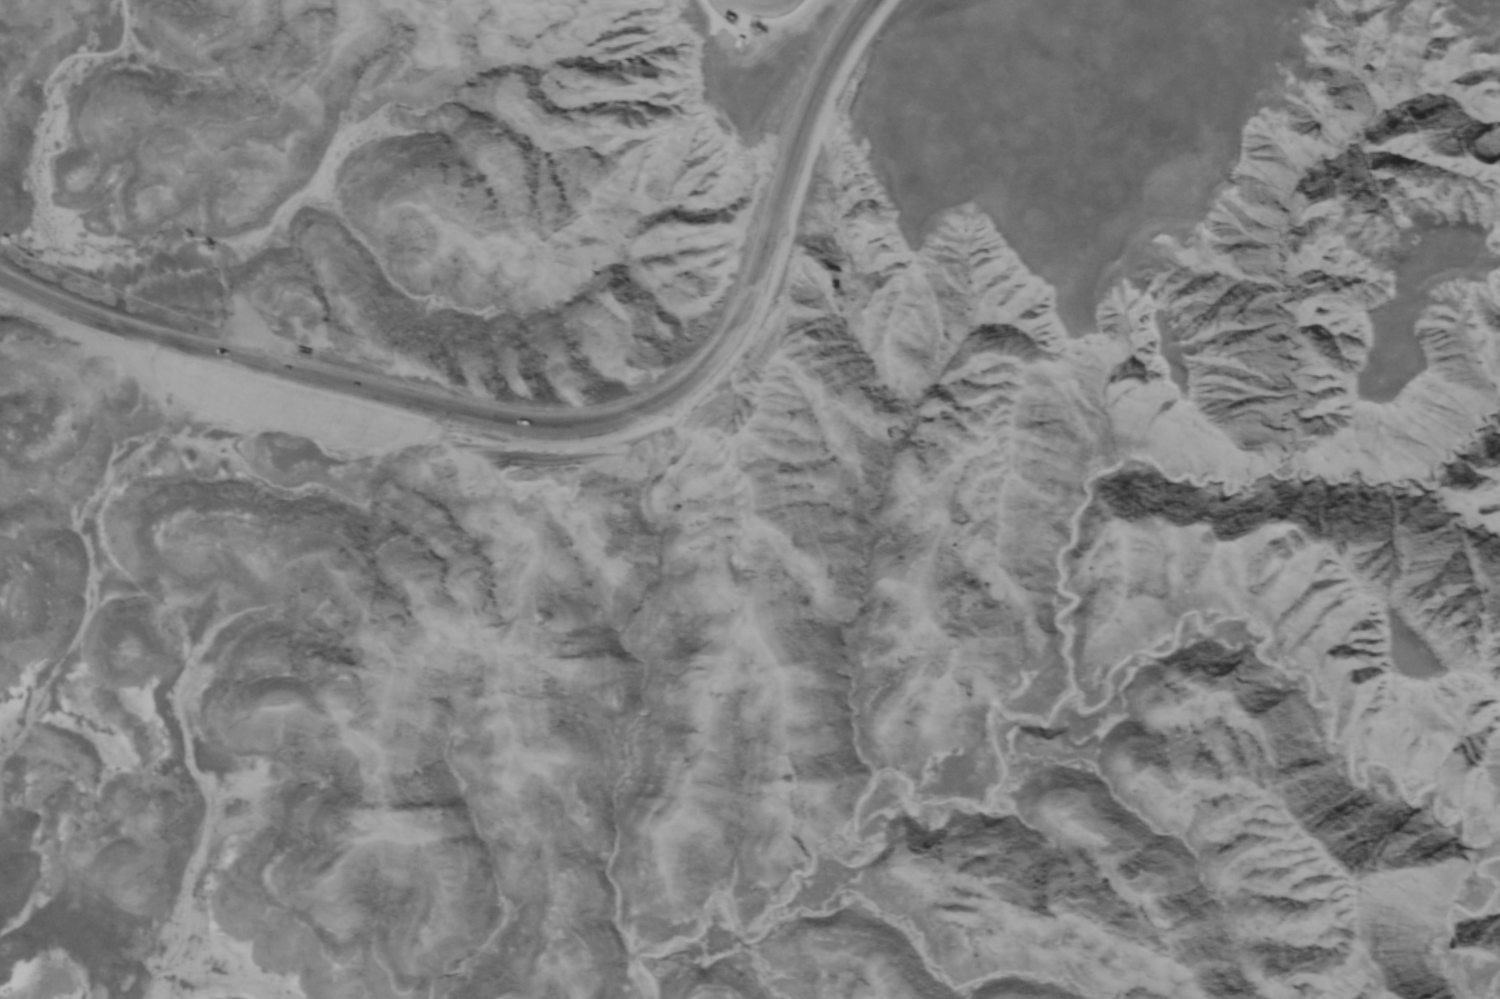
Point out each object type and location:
road: (758, 6)
road: (713, 57)
road: (550, 420)

